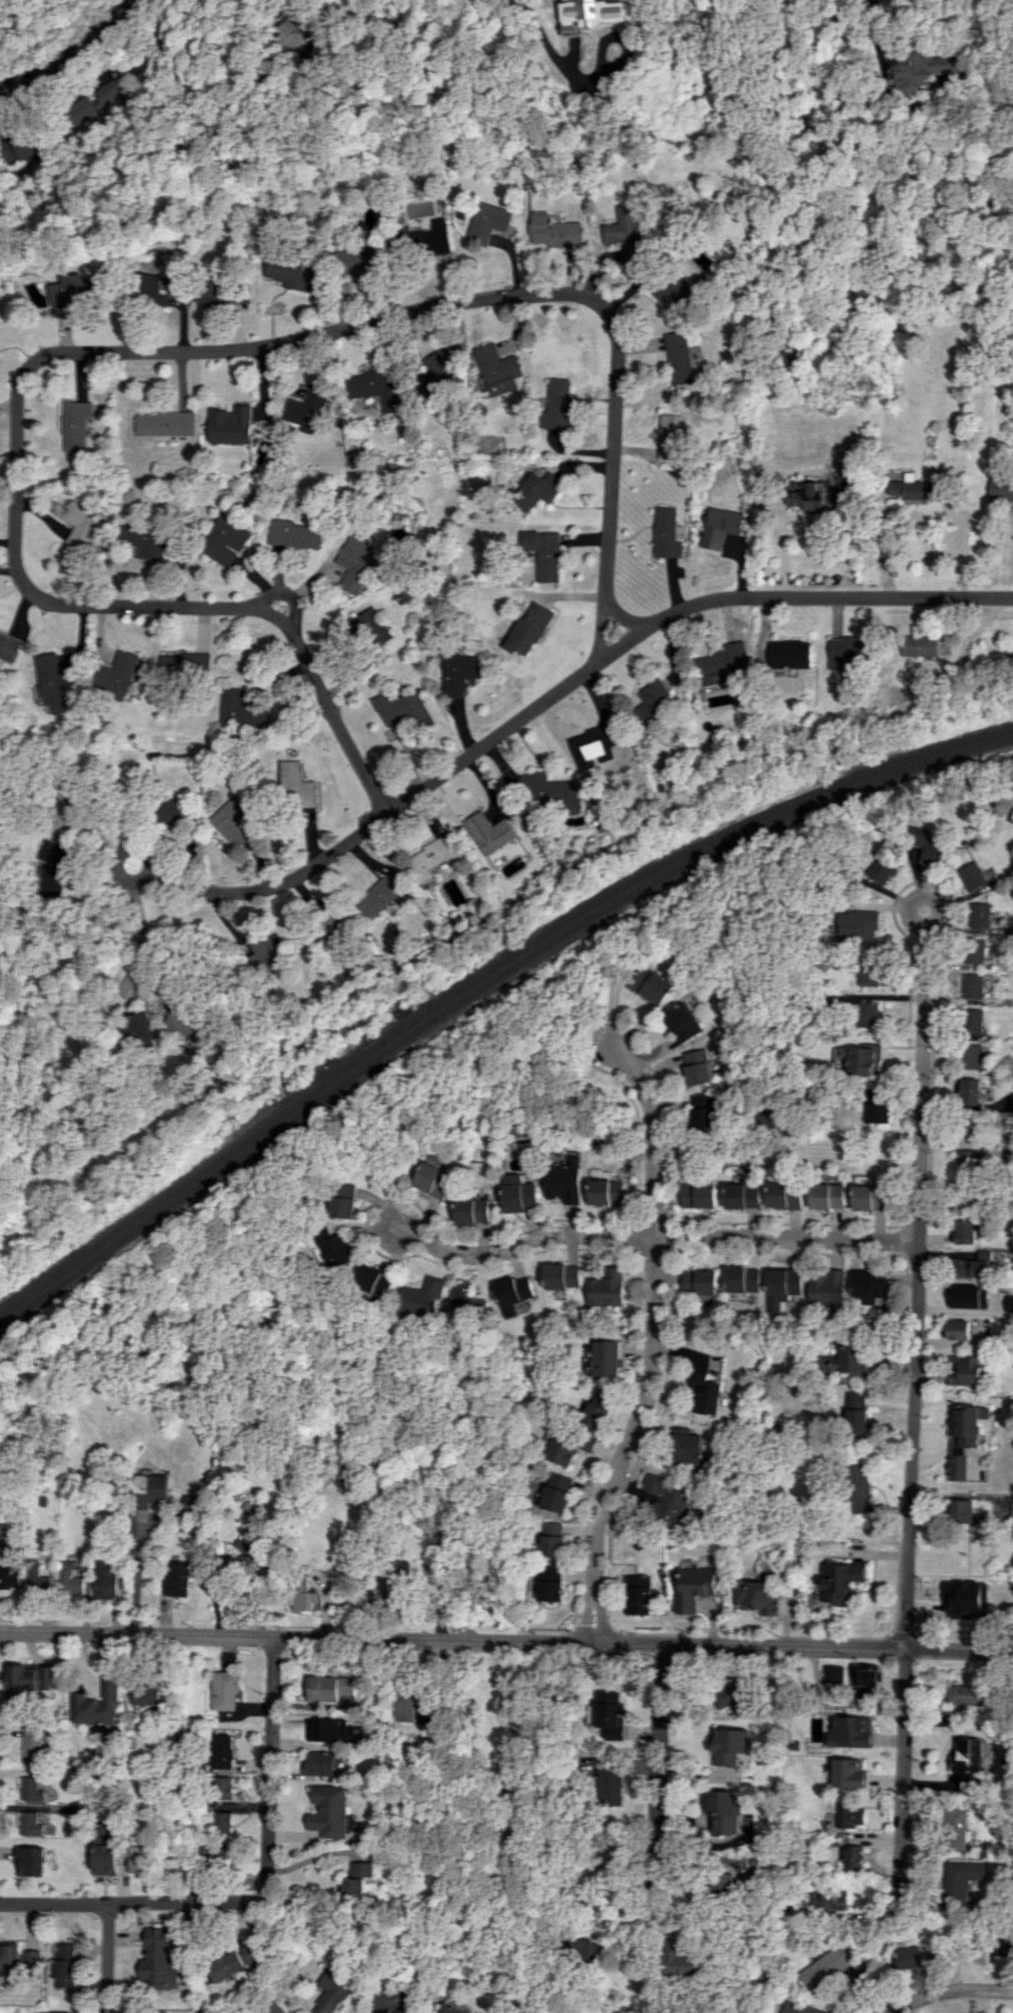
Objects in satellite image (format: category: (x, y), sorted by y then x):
road: (526, 3)
building: (593, 14)
building: (300, 34)
road: (69, 53)
road: (241, 62)
road: (568, 70)
building: (922, 70)
road: (886, 87)
building: (95, 101)
building: (30, 145)
building: (487, 221)
building: (552, 230)
building: (625, 233)
building: (425, 236)
building: (364, 258)
building: (286, 271)
building: (78, 290)
building: (157, 291)
building: (672, 292)
building: (43, 298)
road: (143, 351)
building: (678, 357)
building: (495, 370)
building: (434, 372)
building: (374, 387)
building: (556, 404)
building: (305, 407)
building: (74, 424)
building: (163, 424)
building: (229, 425)
building: (669, 436)
building: (913, 488)
building: (534, 489)
building: (815, 497)
building: (79, 524)
building: (719, 526)
building: (665, 533)
building: (293, 534)
building: (223, 541)
building: (145, 542)
building: (542, 553)
building: (354, 564)
road: (284, 593)
road: (621, 614)
building: (372, 627)
building: (528, 628)
building: (924, 645)
building: (8, 647)
building: (847, 651)
building: (788, 653)
building: (720, 663)
building: (186, 664)
building: (459, 673)
building: (118, 675)
building: (55, 682)
road: (558, 690)
building: (652, 702)
building: (404, 708)
building: (243, 709)
building: (594, 742)
building: (299, 783)
building: (552, 790)
building: (170, 810)
building: (65, 813)
building: (233, 819)
building: (487, 832)
building: (927, 846)
building: (433, 856)
building: (56, 868)
building: (881, 870)
road: (120, 874)
building: (971, 876)
building: (379, 896)
road: (938, 903)
building: (980, 915)
building: (858, 925)
building: (331, 932)
road: (141, 934)
building: (974, 950)
building: (265, 954)
building: (868, 970)
railway: (483, 975)
building: (973, 985)
building: (651, 986)
railway: (484, 987)
building: (867, 1014)
building: (973, 1021)
building: (682, 1022)
building: (181, 1023)
building: (135, 1026)
building: (972, 1056)
building: (864, 1060)
building: (697, 1067)
building: (971, 1091)
building: (1012, 1101)
building: (877, 1106)
building: (703, 1113)
building: (969, 1127)
building: (968, 1162)
building: (432, 1180)
building: (565, 1181)
building: (606, 1191)
building: (519, 1192)
building: (699, 1194)
building: (784, 1195)
building: (827, 1195)
building: (742, 1196)
building: (968, 1196)
building: (870, 1197)
building: (342, 1200)
building: (472, 1210)
building: (965, 1231)
road: (651, 1239)
building: (334, 1248)
building: (969, 1267)
building: (561, 1275)
building: (741, 1279)
building: (374, 1280)
building: (697, 1281)
building: (783, 1281)
building: (868, 1286)
building: (825, 1288)
building: (606, 1290)
building: (511, 1293)
building: (969, 1296)
building: (419, 1298)
building: (464, 1301)
building: (1009, 1303)
building: (958, 1329)
road: (650, 1339)
building: (606, 1358)
building: (843, 1360)
building: (966, 1371)
building: (704, 1395)
road: (912, 1405)
building: (597, 1408)
building: (857, 1413)
building: (962, 1438)
building: (567, 1445)
building: (686, 1447)
building: (151, 1488)
building: (860, 1488)
building: (559, 1492)
building: (665, 1500)
building: (1012, 1506)
building: (961, 1511)
building: (3, 1530)
building: (556, 1539)
building: (249, 1548)
building: (9, 1576)
road: (134, 1577)
building: (38, 1578)
building: (177, 1578)
building: (105, 1579)
building: (72, 1582)
building: (698, 1582)
building: (842, 1582)
building: (552, 1584)
building: (758, 1593)
building: (303, 1594)
building: (639, 1594)
building: (966, 1599)
road: (506, 1639)
building: (832, 1673)
building: (854, 1677)
building: (29, 1679)
building: (868, 1680)
building: (830, 1686)
building: (330, 1687)
building: (224, 1690)
building: (144, 1694)
building: (968, 1694)
building: (731, 1697)
building: (406, 1703)
building: (97, 1704)
building: (614, 1713)
building: (851, 1732)
building: (31, 1745)
building: (732, 1746)
building: (967, 1759)
building: (319, 1763)
building: (222, 1766)
road: (266, 1768)
building: (848, 1773)
road: (649, 1781)
building: (615, 1784)
building: (30, 1789)
building: (723, 1810)
building: (330, 1811)
building: (848, 1815)
building: (222, 1822)
building: (29, 1823)
building: (955, 1830)
building: (104, 1850)
building: (217, 1855)
building: (849, 1855)
road: (310, 1857)
building: (139, 1859)
building: (30, 1861)
building: (615, 1867)
building: (357, 1880)
building: (963, 1881)
building: (731, 1885)
building: (829, 1899)
road: (130, 1902)
building: (1007, 1944)
building: (251, 1951)
building: (588, 1951)
building: (911, 1956)
building: (31, 1958)
road: (104, 1958)
building: (155, 1958)
building: (8, 1959)
building: (683, 1960)
building: (64, 1964)
building: (223, 1966)
building: (824, 1967)
road: (948, 1993)
building: (329, 1994)
building: (393, 2000)
building: (448, 2008)
building: (802, 2008)
building: (51, 2012)

